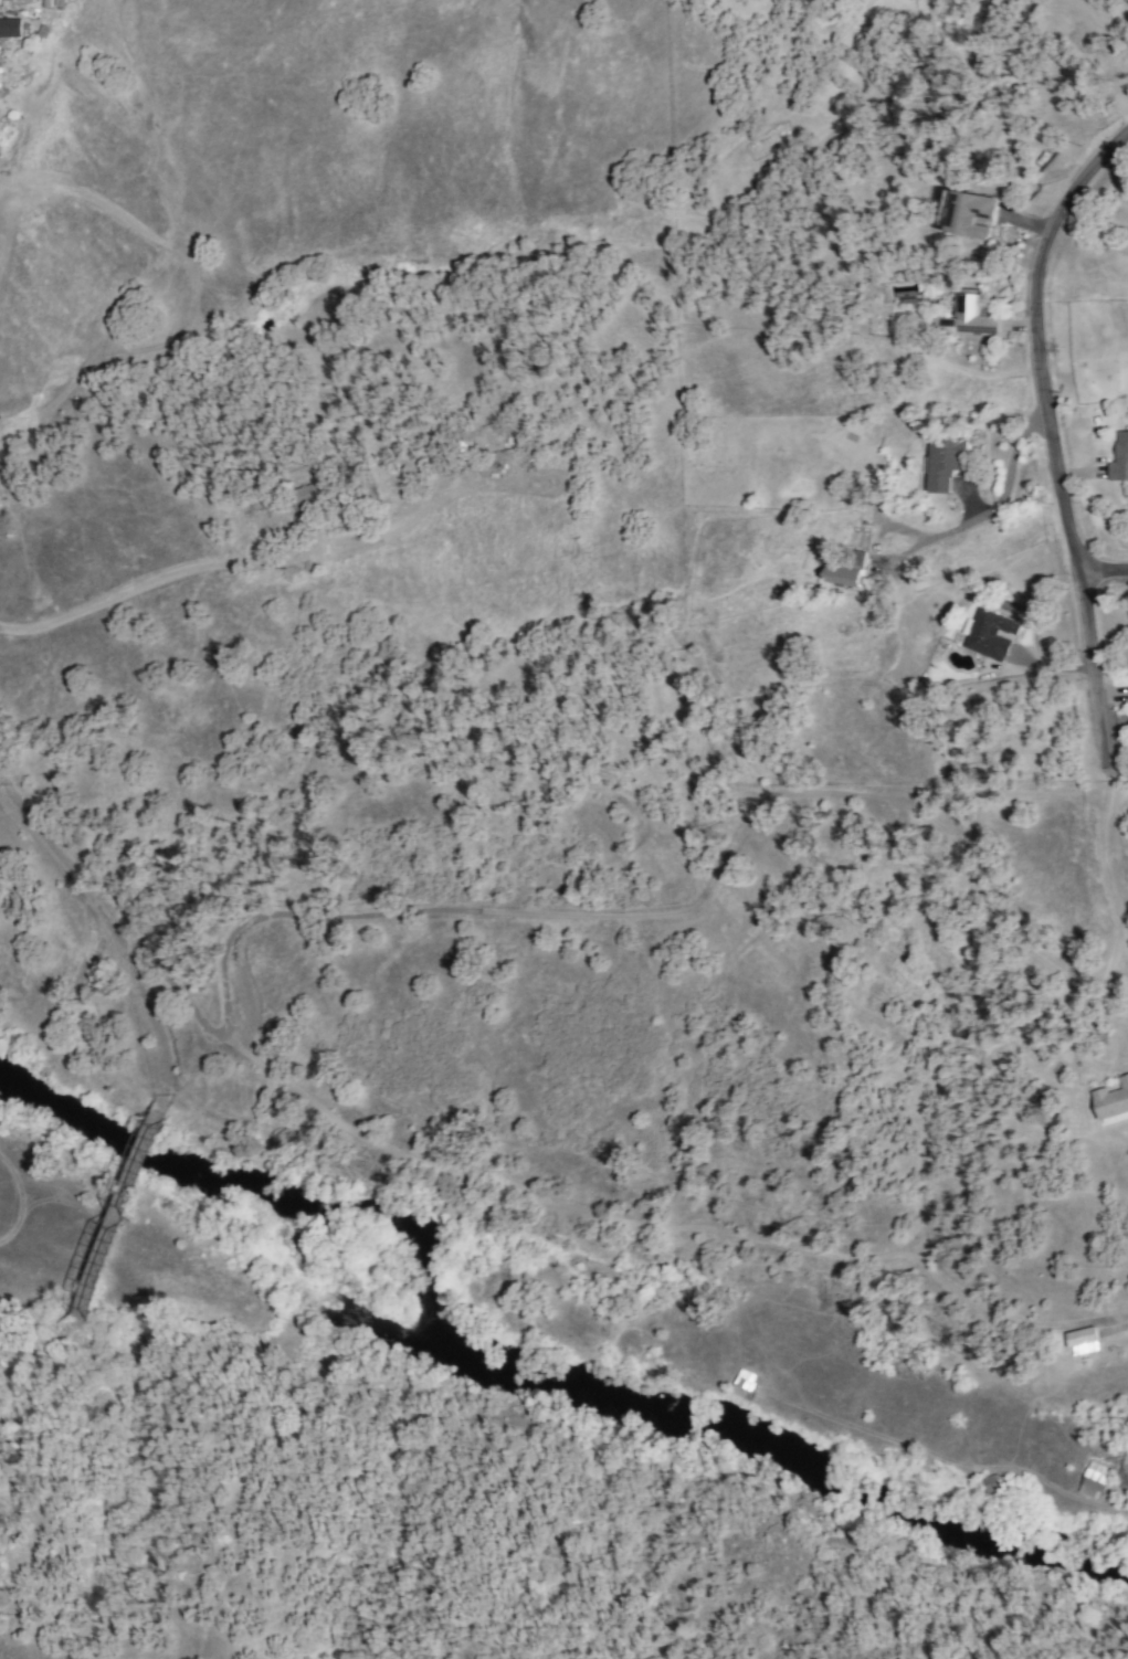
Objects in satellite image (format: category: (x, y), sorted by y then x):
building: (10, 28)
building: (971, 215)
building: (974, 317)
road: (1052, 434)
building: (467, 450)
building: (1121, 457)
building: (945, 464)
building: (305, 495)
road: (989, 501)
building: (847, 570)
road: (1105, 573)
building: (990, 635)
road: (1099, 859)
road: (117, 938)
building: (1114, 1102)
road: (118, 1225)
building: (1085, 1341)
road: (44, 1348)
river: (524, 1377)
building: (746, 1388)
building: (1096, 1480)

